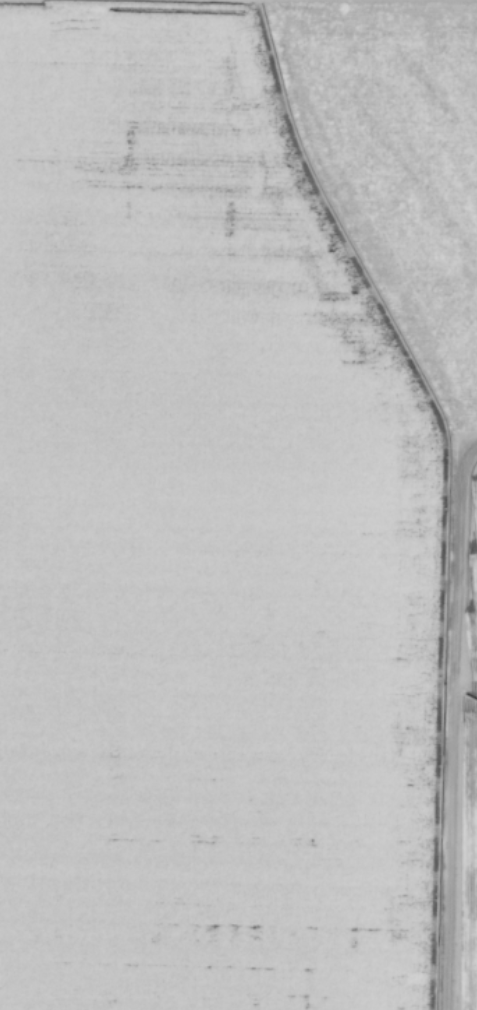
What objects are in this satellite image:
road: (448, 724)

